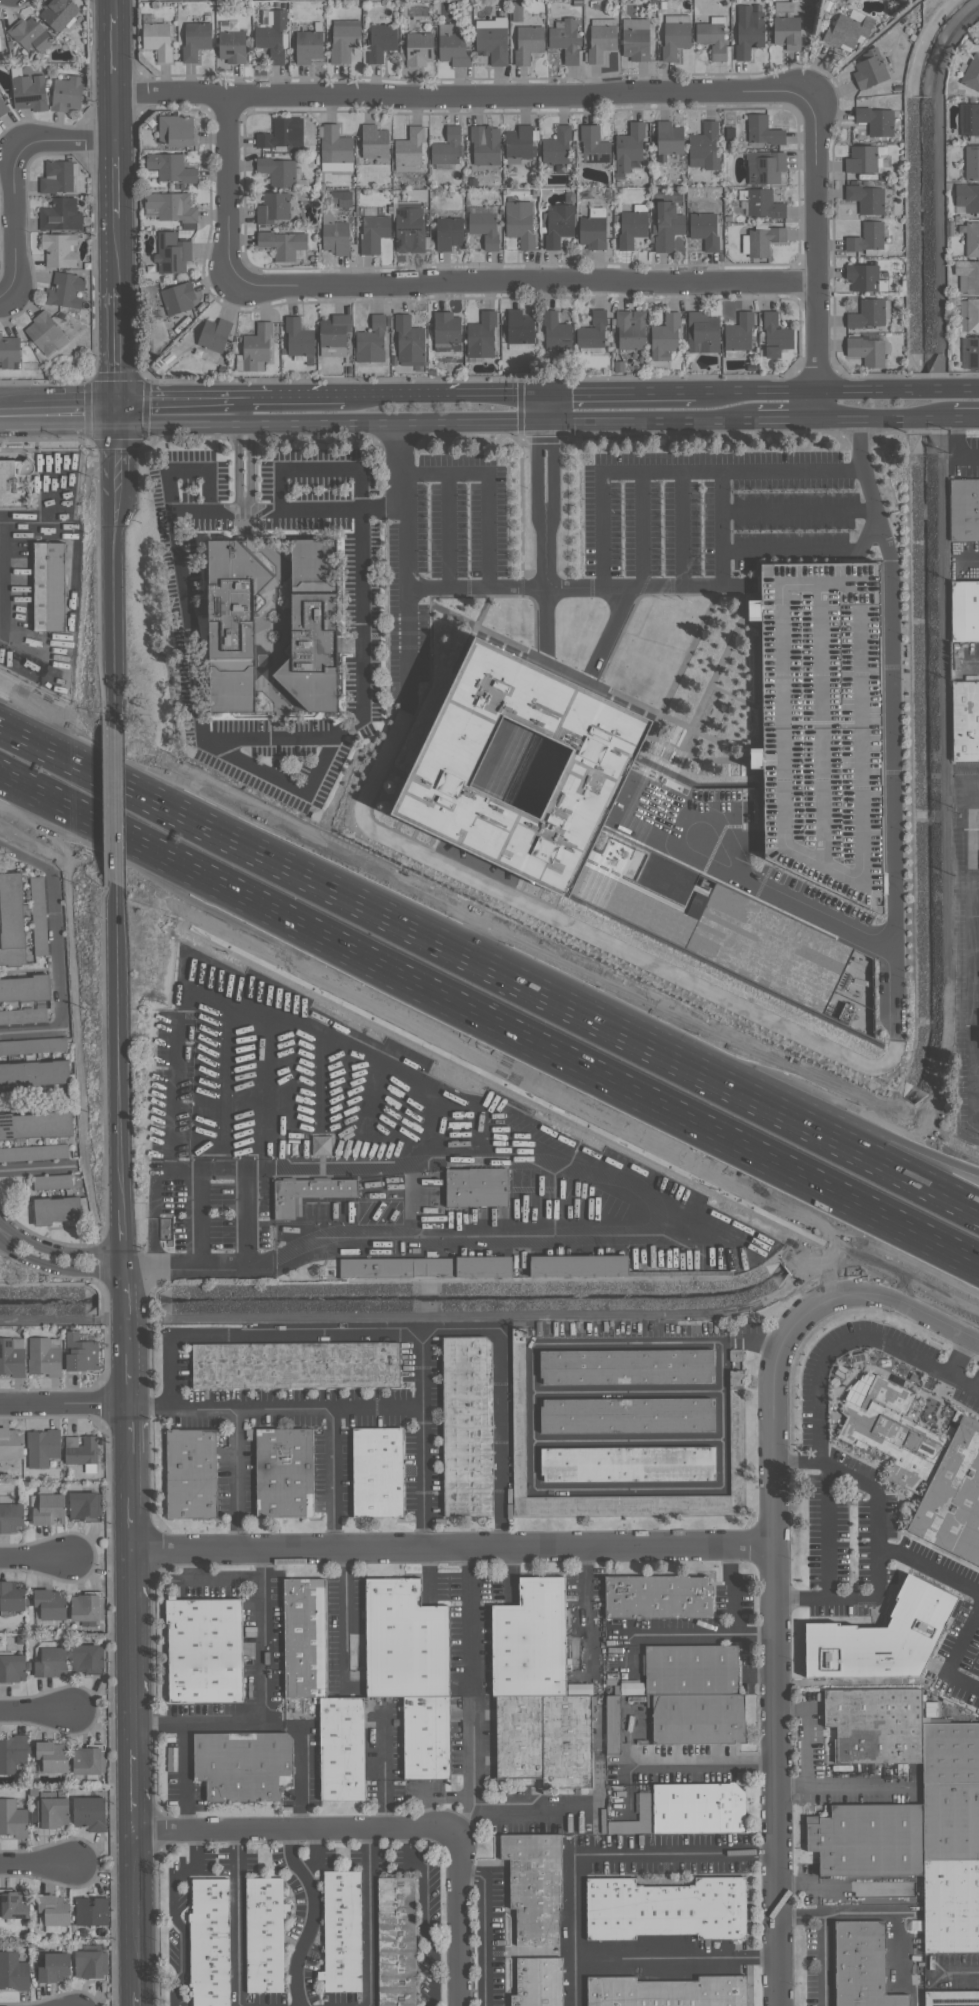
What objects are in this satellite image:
road: (111, 7)
building: (784, 7)
building: (516, 11)
building: (58, 13)
building: (847, 30)
building: (748, 31)
building: (786, 32)
building: (30, 34)
building: (272, 35)
building: (711, 38)
building: (636, 39)
building: (674, 39)
building: (158, 40)
building: (195, 40)
building: (343, 40)
building: (565, 40)
building: (380, 41)
building: (600, 42)
building: (231, 43)
building: (492, 43)
building: (527, 43)
building: (308, 46)
building: (452, 48)
building: (419, 49)
road: (862, 49)
road: (112, 53)
building: (869, 69)
building: (972, 73)
building: (29, 92)
building: (67, 94)
road: (458, 96)
building: (2, 108)
road: (113, 117)
building: (969, 119)
building: (875, 120)
building: (175, 130)
building: (763, 130)
building: (282, 134)
road: (60, 138)
building: (668, 138)
building: (519, 142)
building: (374, 143)
building: (485, 145)
building: (593, 145)
building: (556, 146)
building: (629, 146)
building: (704, 146)
building: (409, 148)
building: (447, 148)
building: (335, 149)
building: (861, 159)
building: (972, 162)
building: (765, 167)
building: (170, 168)
building: (277, 171)
building: (57, 177)
road: (113, 179)
road: (229, 191)
building: (967, 197)
building: (866, 198)
building: (762, 203)
building: (272, 207)
building: (173, 208)
building: (60, 215)
building: (519, 223)
road: (15, 225)
building: (558, 225)
building: (666, 226)
building: (631, 228)
building: (484, 229)
building: (409, 230)
building: (704, 230)
building: (592, 232)
building: (373, 233)
building: (448, 233)
building: (336, 238)
building: (970, 238)
building: (866, 239)
building: (763, 240)
road: (813, 243)
building: (283, 244)
building: (59, 250)
road: (113, 252)
building: (171, 253)
building: (967, 276)
building: (865, 278)
road: (523, 287)
building: (66, 290)
road: (4, 299)
building: (176, 299)
building: (867, 314)
building: (972, 314)
building: (519, 327)
building: (630, 329)
building: (554, 331)
building: (591, 331)
building: (703, 332)
building: (335, 333)
building: (738, 333)
building: (45, 334)
building: (446, 334)
building: (481, 336)
building: (774, 336)
building: (298, 337)
building: (664, 337)
building: (212, 340)
building: (371, 341)
building: (409, 342)
building: (255, 349)
road: (114, 350)
building: (867, 351)
building: (969, 352)
building: (9, 353)
road: (896, 389)
road: (755, 391)
road: (622, 393)
road: (445, 394)
road: (308, 396)
road: (177, 397)
road: (257, 397)
road: (814, 404)
road: (548, 408)
road: (243, 411)
road: (60, 414)
road: (2, 415)
road: (966, 417)
road: (884, 418)
road: (785, 419)
road: (652, 421)
road: (330, 423)
road: (243, 429)
road: (243, 434)
road: (956, 444)
road: (115, 446)
road: (674, 471)
road: (238, 475)
road: (249, 475)
building: (14, 482)
road: (488, 486)
building: (963, 509)
road: (289, 510)
road: (799, 510)
road: (722, 527)
road: (641, 528)
road: (683, 528)
road: (449, 529)
road: (547, 537)
road: (809, 551)
road: (970, 559)
road: (407, 562)
building: (49, 586)
road: (580, 586)
building: (965, 608)
road: (362, 615)
building: (233, 624)
building: (313, 629)
road: (610, 631)
road: (350, 646)
road: (195, 653)
road: (976, 660)
road: (893, 716)
building: (965, 719)
building: (824, 724)
parking lot: (824, 724)
building: (755, 756)
building: (447, 768)
road: (254, 830)
road: (733, 841)
road: (25, 858)
road: (757, 885)
building: (38, 915)
building: (11, 919)
building: (731, 937)
road: (57, 950)
road: (974, 956)
building: (24, 988)
road: (278, 1012)
building: (23, 1016)
road: (32, 1032)
road: (488, 1042)
building: (33, 1045)
road: (694, 1049)
building: (33, 1073)
road: (320, 1080)
building: (34, 1125)
building: (33, 1153)
building: (392, 1155)
road: (930, 1156)
road: (415, 1161)
road: (930, 1164)
road: (34, 1169)
road: (303, 1170)
building: (51, 1181)
building: (56, 1209)
road: (244, 1219)
road: (1, 1232)
road: (1, 1234)
road: (120, 1235)
road: (444, 1238)
road: (59, 1253)
road: (54, 1268)
road: (900, 1300)
road: (386, 1331)
road: (124, 1333)
building: (80, 1353)
building: (735, 1355)
building: (12, 1356)
road: (961, 1356)
building: (44, 1358)
building: (295, 1365)
building: (626, 1366)
building: (735, 1379)
road: (64, 1403)
road: (298, 1411)
building: (626, 1414)
building: (466, 1426)
road: (822, 1429)
road: (421, 1439)
building: (735, 1442)
building: (10, 1444)
building: (42, 1447)
building: (83, 1454)
road: (533, 1460)
building: (626, 1463)
building: (923, 1468)
building: (283, 1472)
building: (376, 1472)
building: (190, 1473)
road: (131, 1476)
road: (234, 1479)
road: (334, 1479)
building: (84, 1504)
building: (48, 1509)
building: (10, 1516)
road: (825, 1531)
road: (455, 1548)
road: (33, 1557)
road: (928, 1565)
road: (210, 1581)
building: (11, 1596)
building: (657, 1597)
building: (49, 1604)
building: (86, 1608)
road: (344, 1609)
road: (732, 1609)
building: (882, 1636)
road: (264, 1637)
building: (304, 1637)
building: (404, 1641)
road: (131, 1648)
road: (777, 1648)
building: (204, 1650)
road: (955, 1655)
building: (86, 1657)
building: (50, 1661)
building: (12, 1667)
building: (579, 1689)
building: (536, 1690)
road: (473, 1691)
building: (694, 1694)
road: (34, 1712)
building: (612, 1725)
building: (875, 1725)
road: (268, 1726)
building: (426, 1737)
building: (340, 1748)
road: (806, 1749)
building: (12, 1752)
building: (950, 1753)
building: (52, 1756)
building: (87, 1760)
building: (243, 1765)
road: (701, 1765)
road: (383, 1770)
road: (186, 1779)
road: (130, 1790)
road: (528, 1808)
building: (697, 1808)
building: (51, 1812)
building: (89, 1813)
building: (12, 1819)
building: (950, 1821)
road: (296, 1832)
building: (867, 1839)
road: (599, 1854)
road: (34, 1863)
building: (533, 1884)
building: (918, 1887)
building: (14, 1904)
building: (951, 1906)
building: (665, 1908)
building: (53, 1910)
building: (90, 1911)
road: (133, 1911)
road: (173, 1914)
road: (885, 1914)
road: (314, 1918)
road: (368, 1918)
road: (422, 1918)
road: (461, 1918)
road: (235, 1919)
road: (484, 1928)
building: (341, 1932)
building: (264, 1935)
building: (395, 1940)
building: (209, 1942)
road: (676, 1958)
road: (823, 1961)
building: (89, 1964)
building: (860, 1965)
building: (53, 1967)
building: (13, 1972)
road: (957, 1975)
building: (537, 1982)
building: (666, 1992)
road: (135, 1998)
building: (951, 1998)

